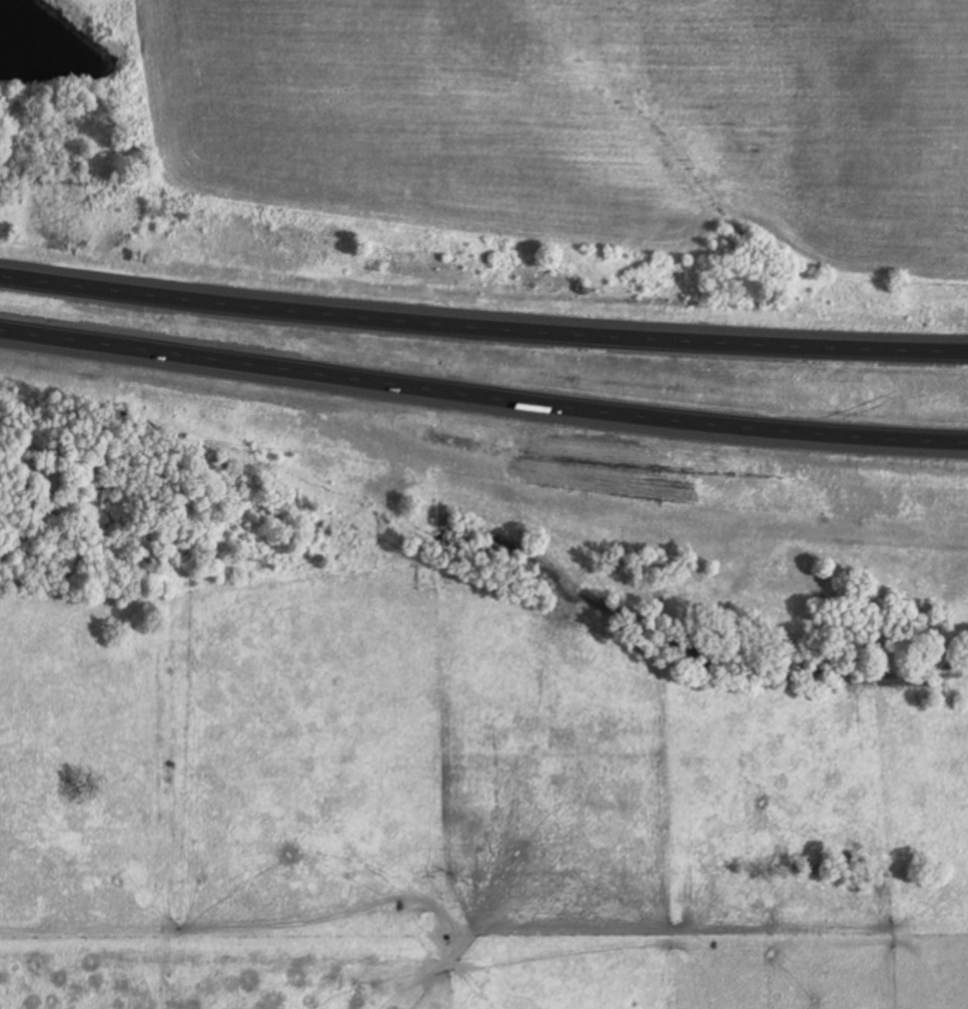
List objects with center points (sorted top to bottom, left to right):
crop: (583, 120)
road: (483, 323)
road: (483, 400)

